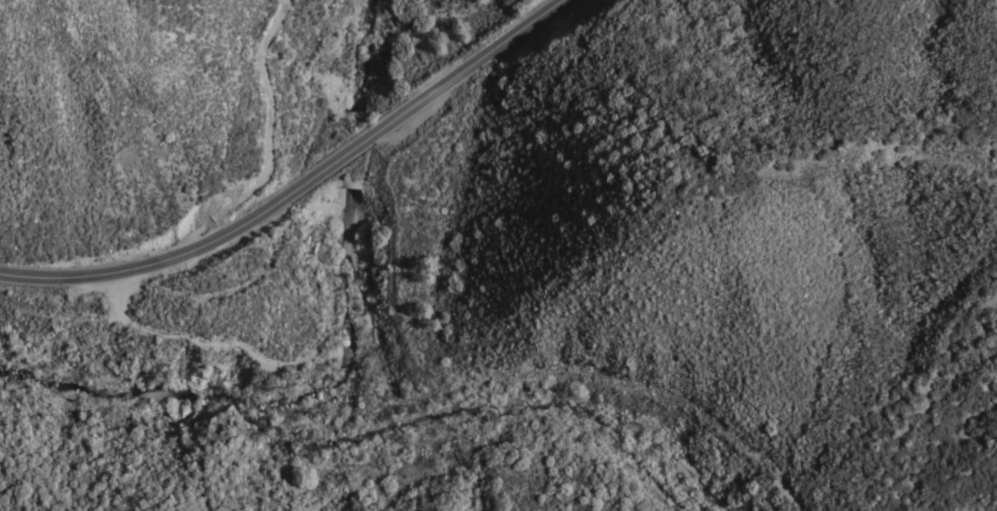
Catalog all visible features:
road: (469, 66)
road: (273, 136)
road: (345, 155)
river: (352, 165)
road: (167, 260)
river: (165, 377)

